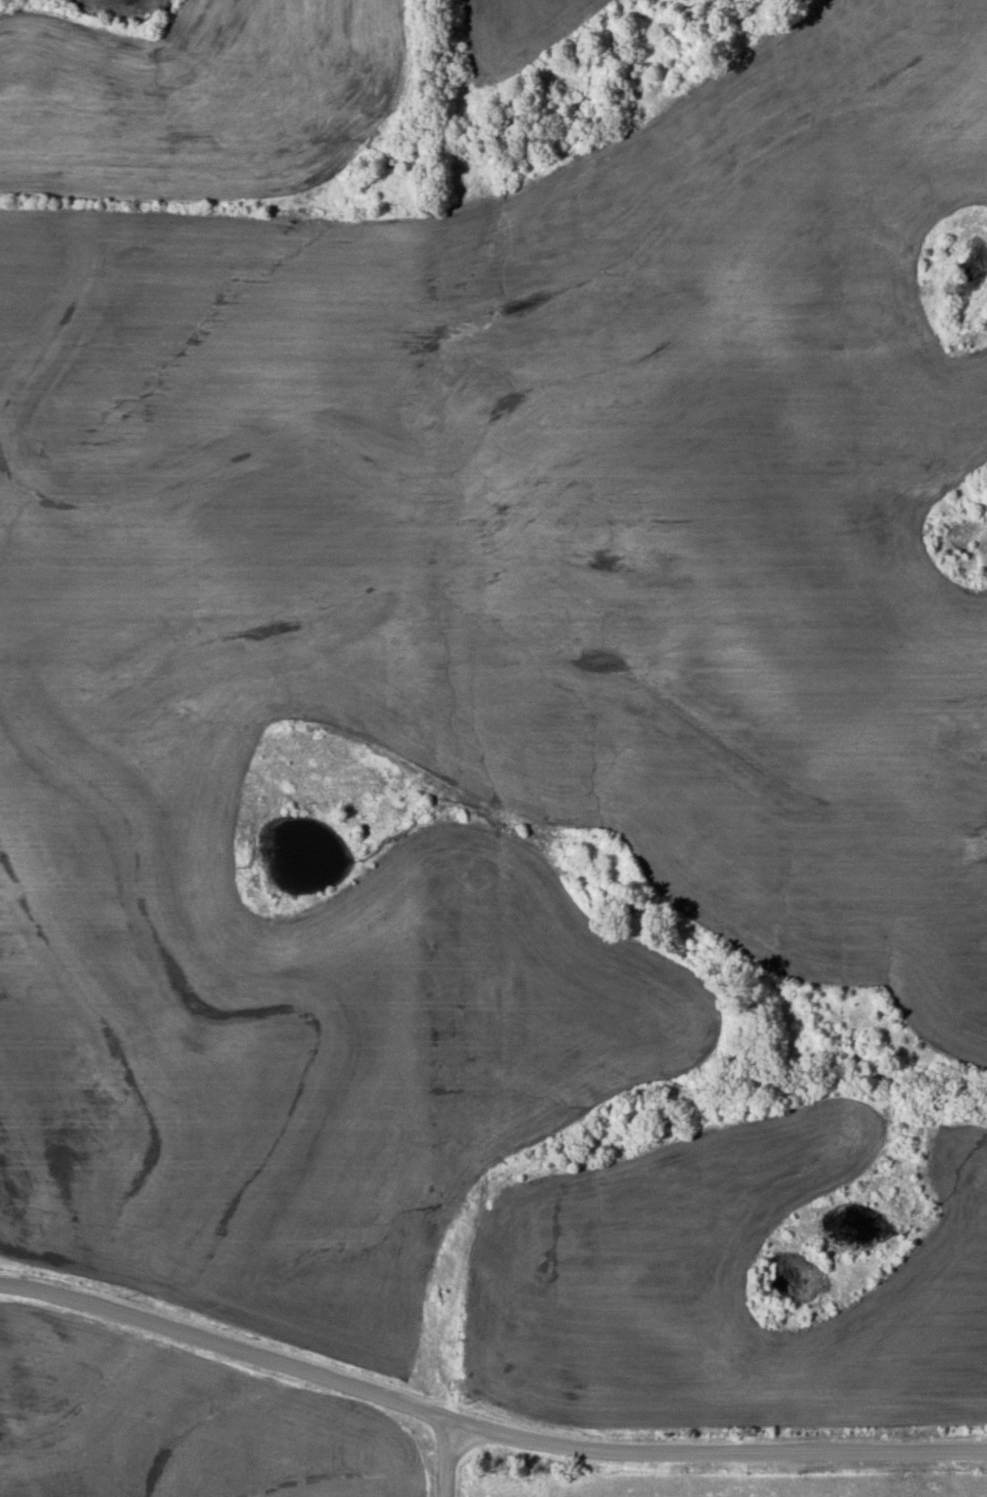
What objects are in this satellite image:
road: (483, 1425)
road: (458, 1461)

